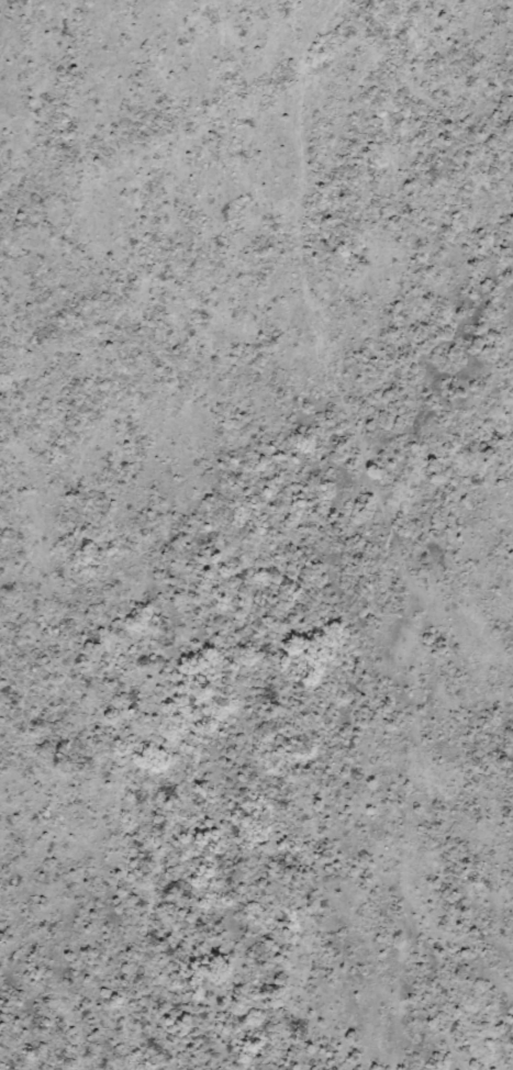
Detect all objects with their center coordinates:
road: (183, 245)

